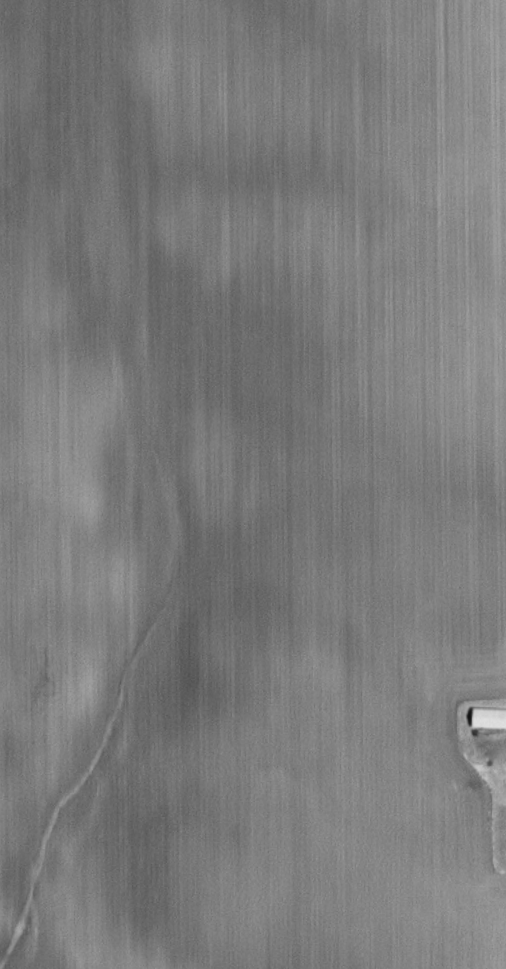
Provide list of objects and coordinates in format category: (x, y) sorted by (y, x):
crop: (248, 479)
building: (490, 717)

